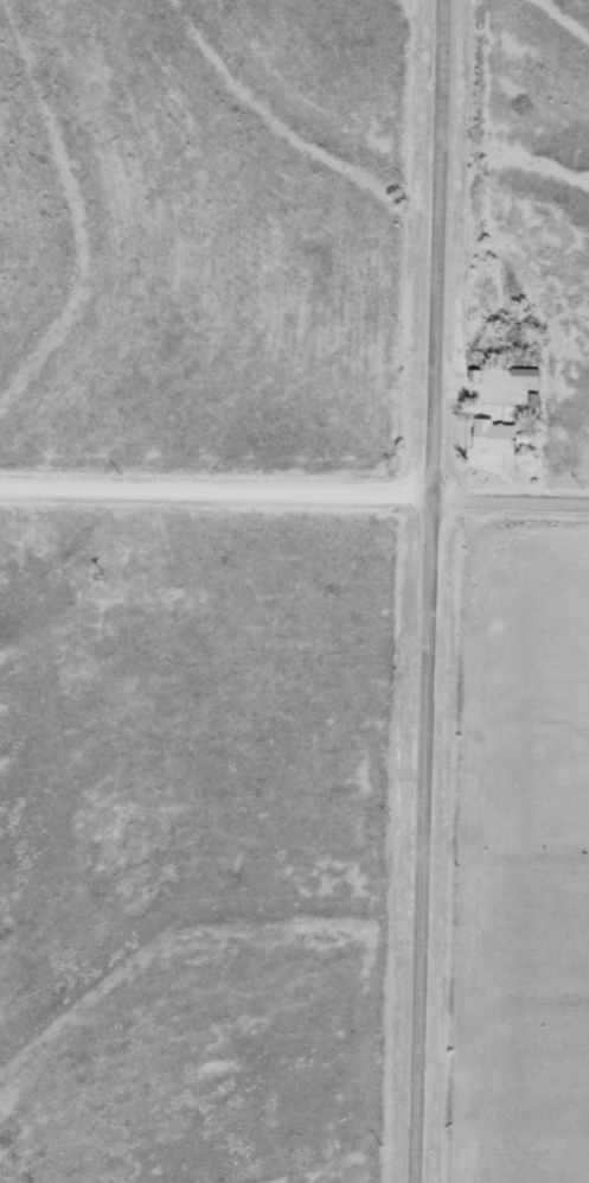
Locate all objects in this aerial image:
road: (294, 492)
road: (431, 591)

